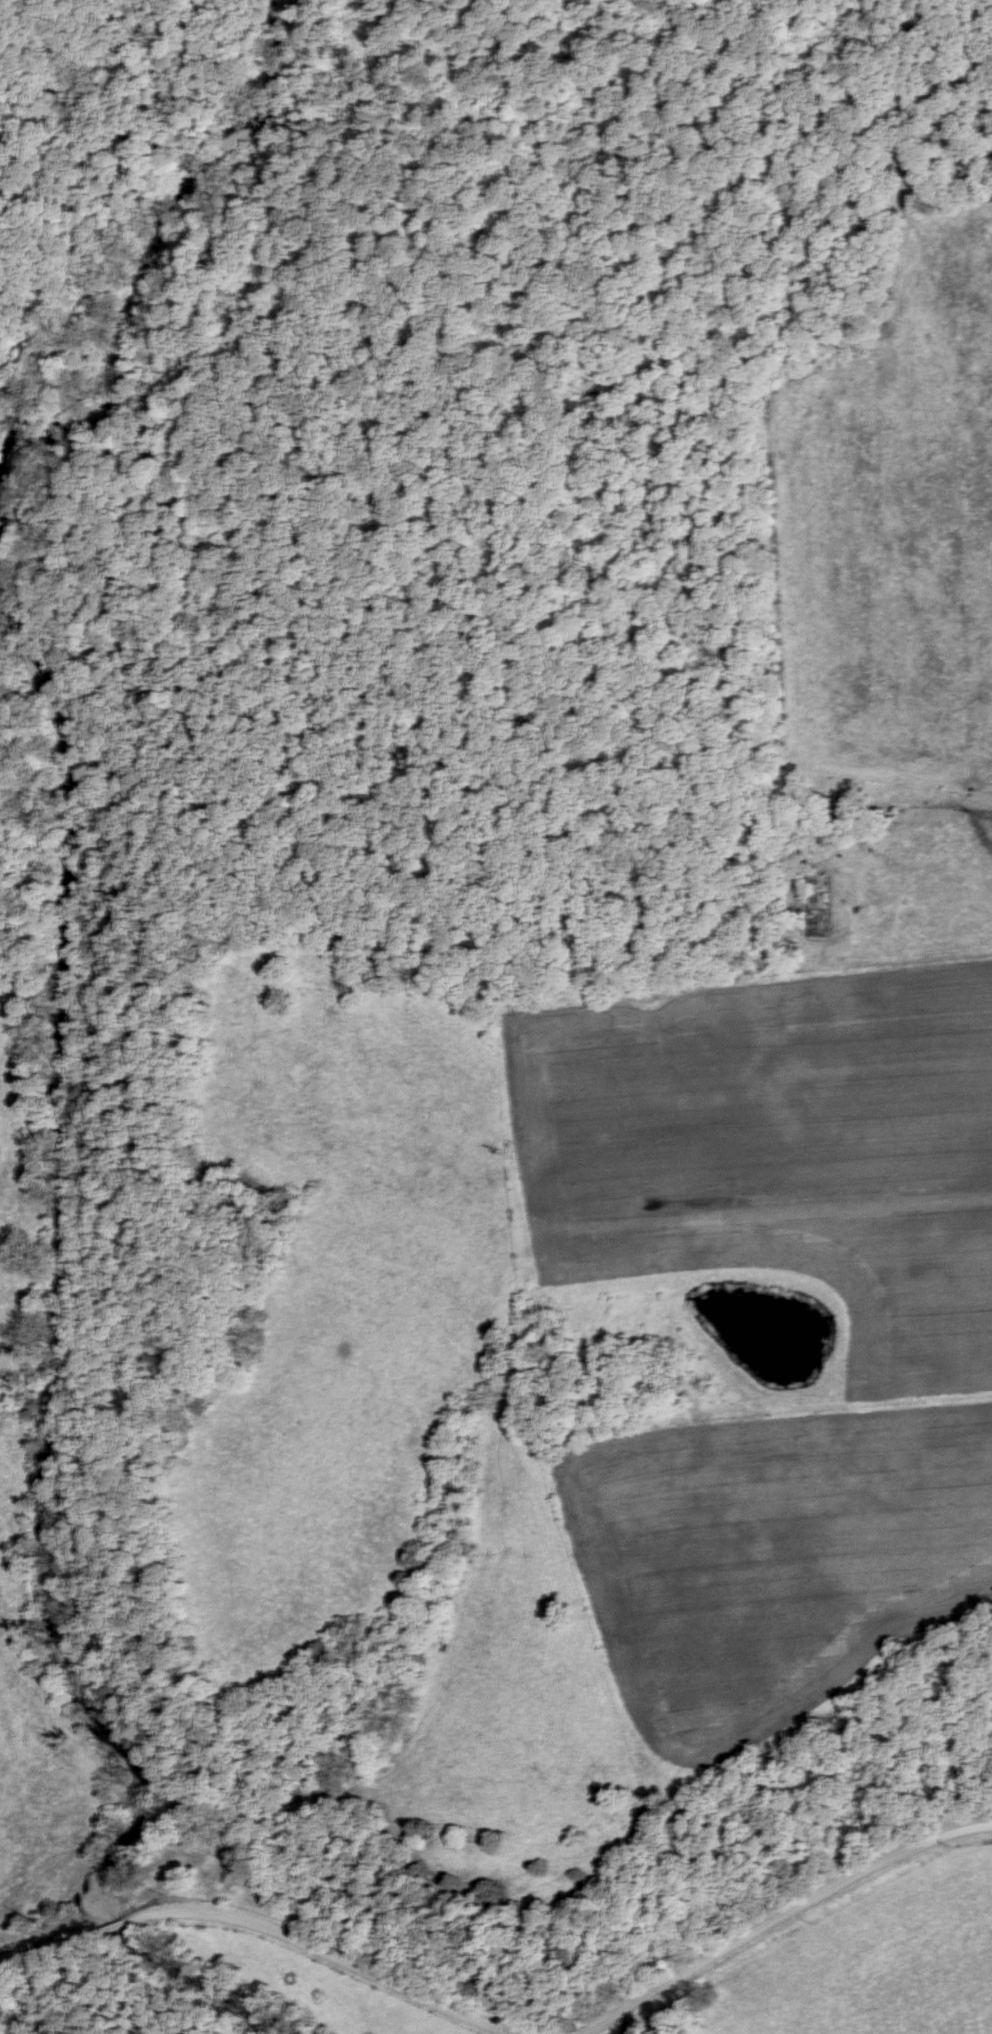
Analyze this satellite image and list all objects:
building: (819, 906)
road: (783, 1911)
road: (257, 1923)

